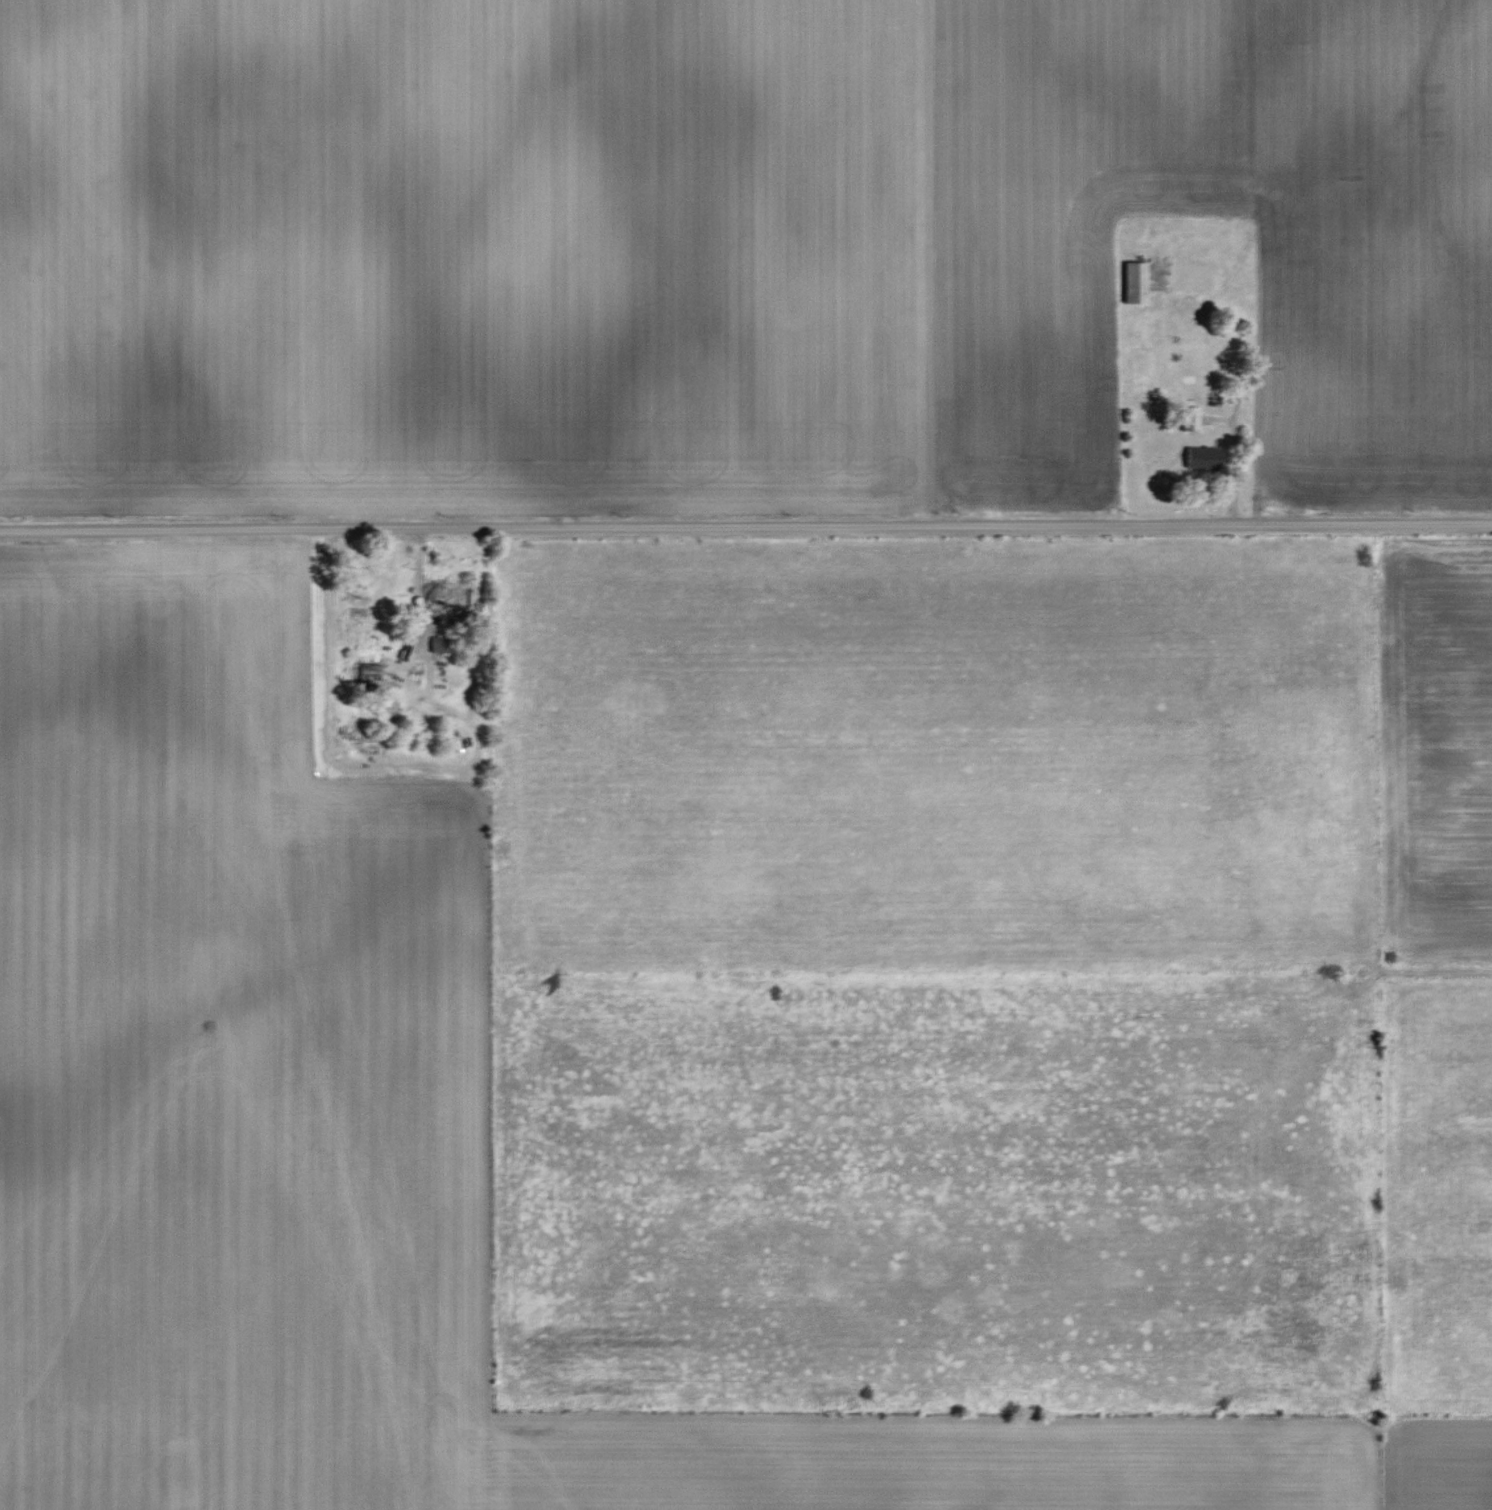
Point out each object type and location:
building: (1138, 282)
building: (1205, 457)
road: (745, 528)

